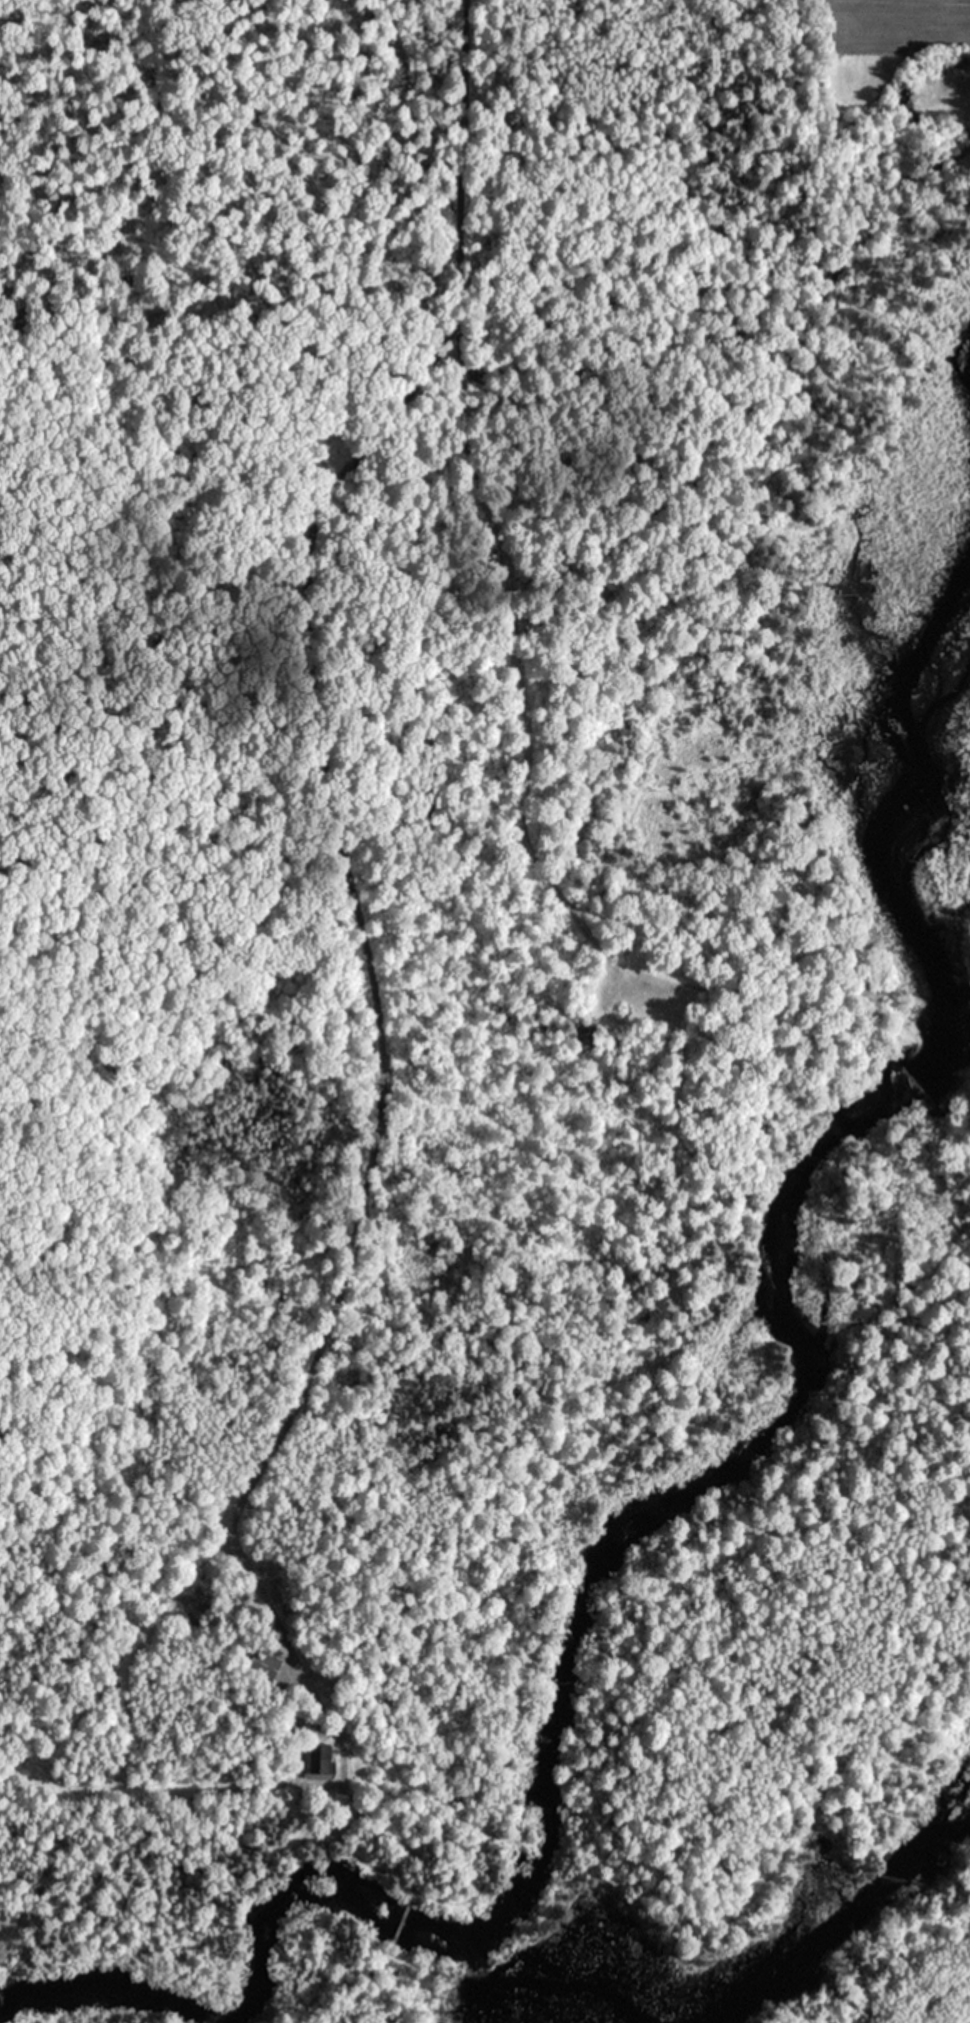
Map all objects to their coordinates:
road: (339, 849)
river: (690, 1497)
building: (261, 1662)
building: (316, 1758)
river: (836, 1923)
river: (544, 1966)

